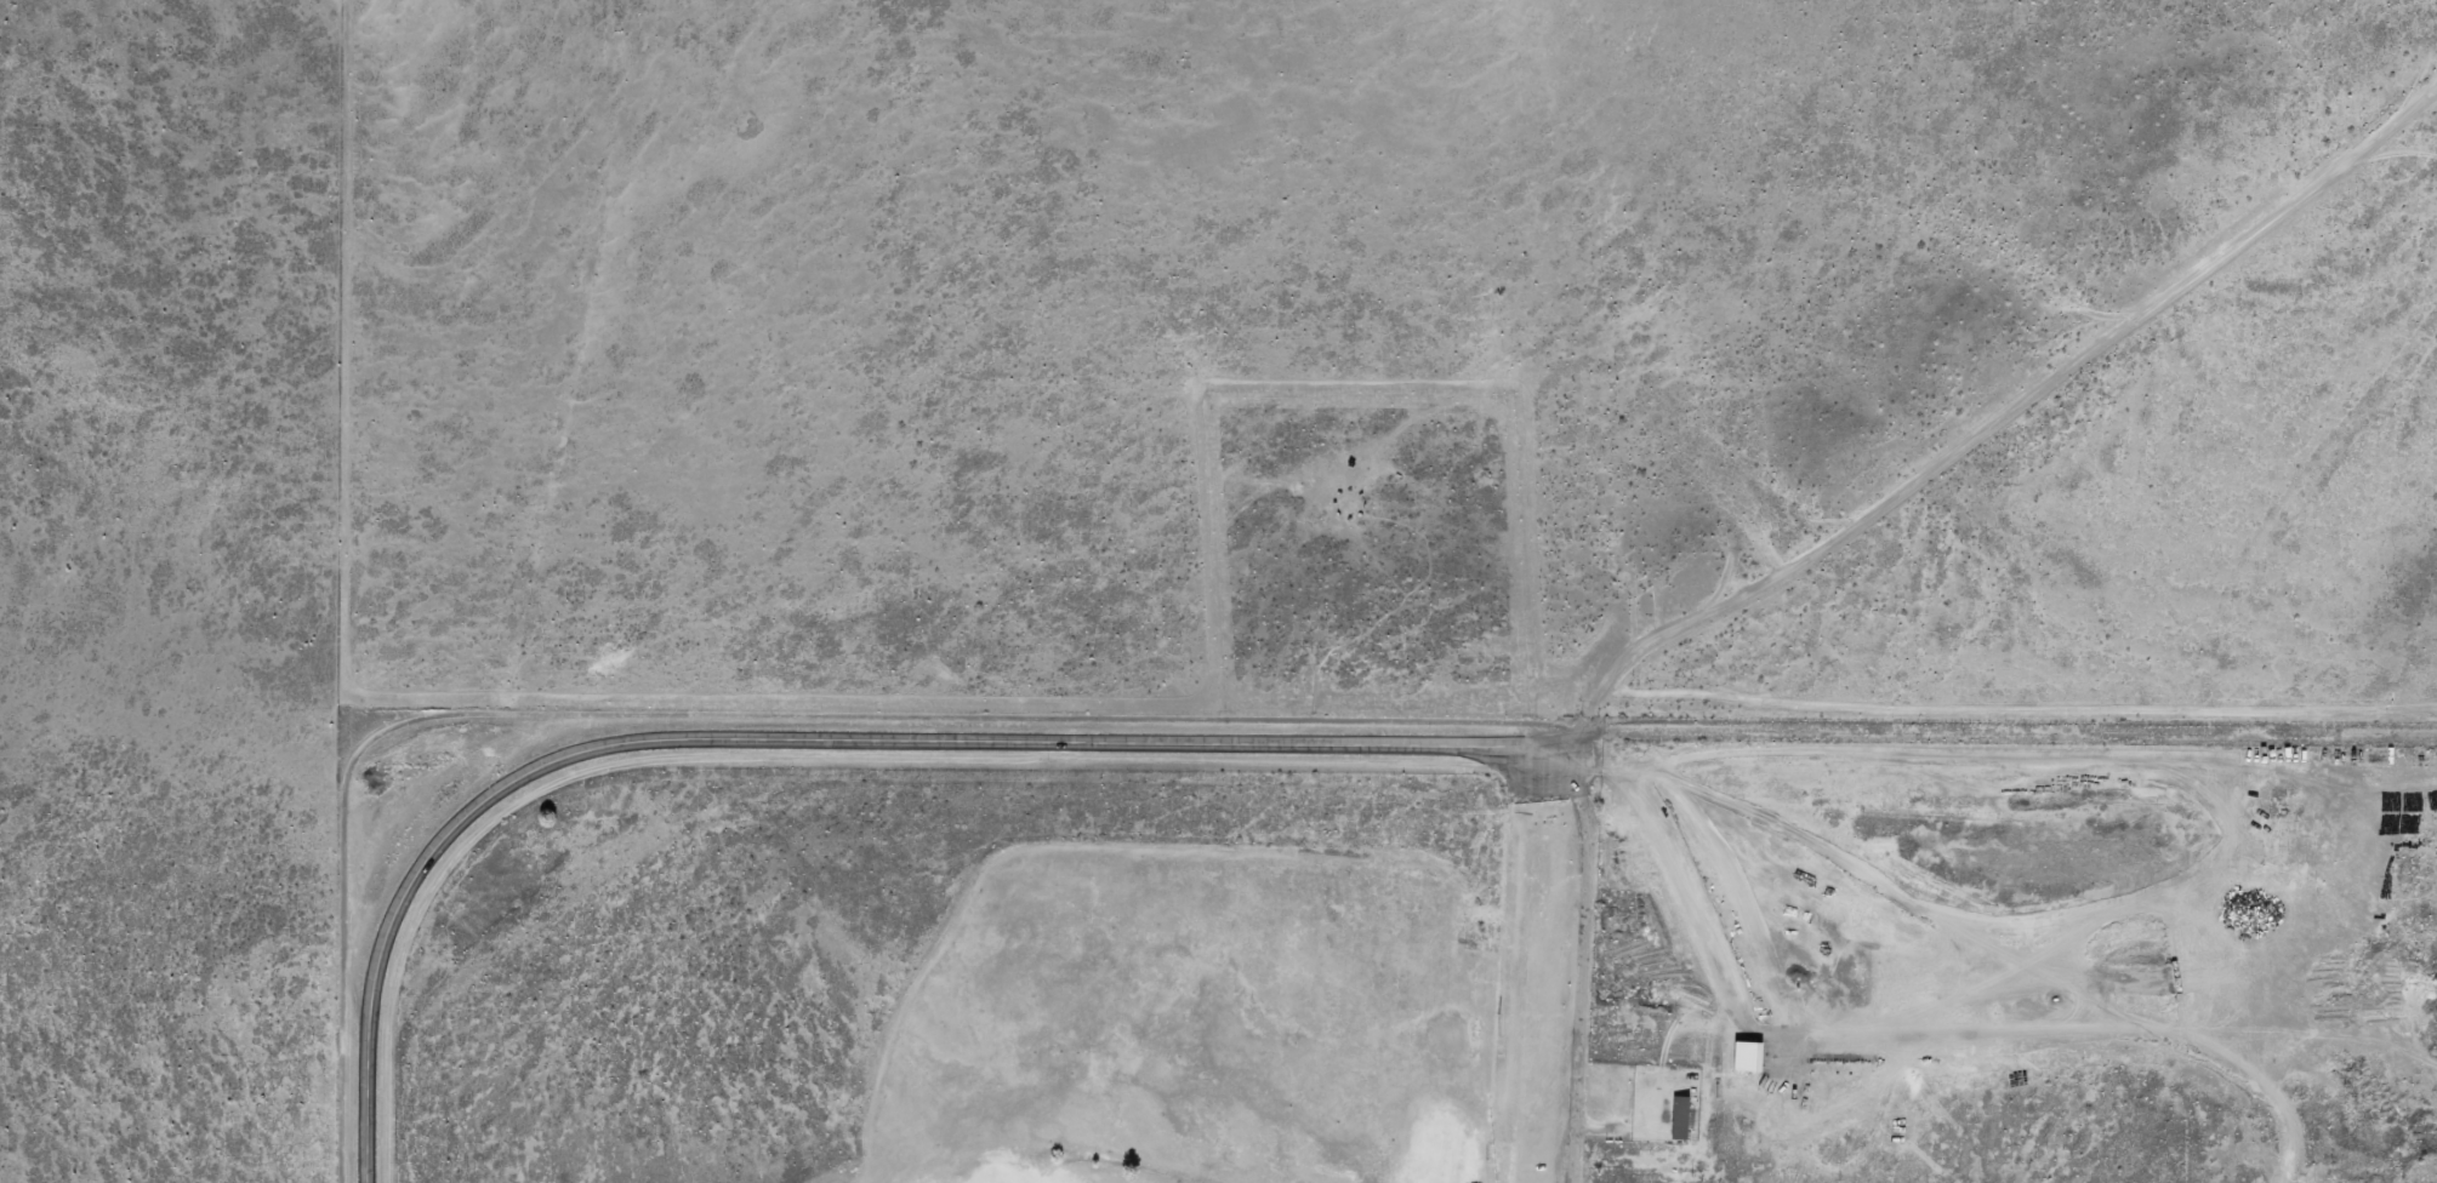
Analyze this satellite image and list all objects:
road: (1817, 521)
road: (819, 739)
road: (2012, 756)
park: (963, 983)
building: (1747, 1056)
building: (1679, 1118)

